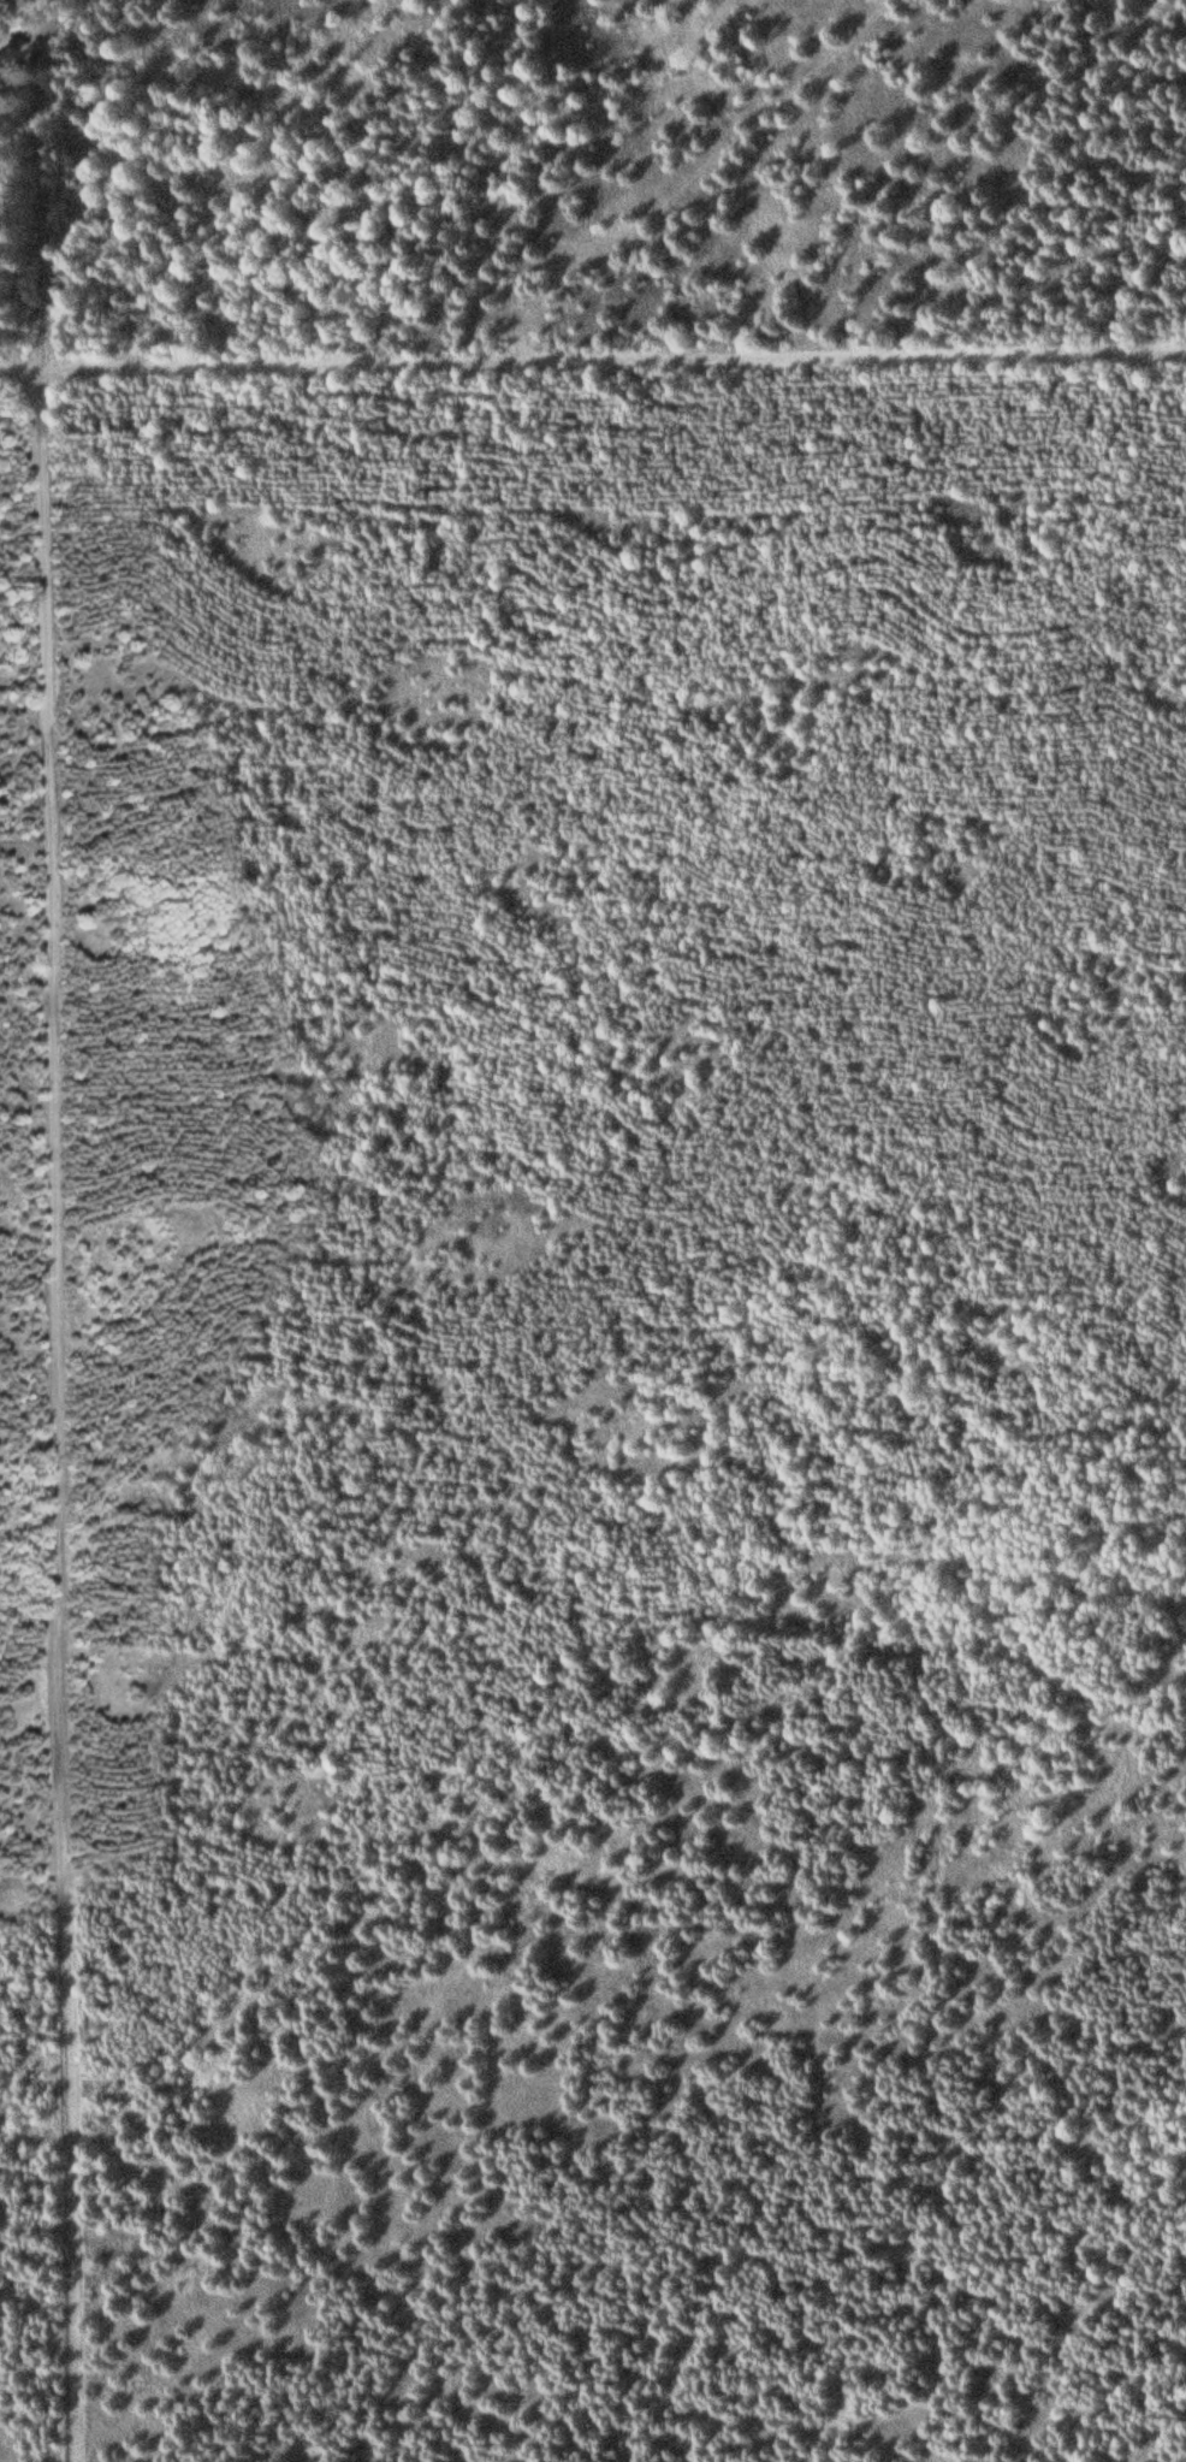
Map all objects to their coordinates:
road: (690, 179)
road: (592, 357)
road: (61, 1231)

